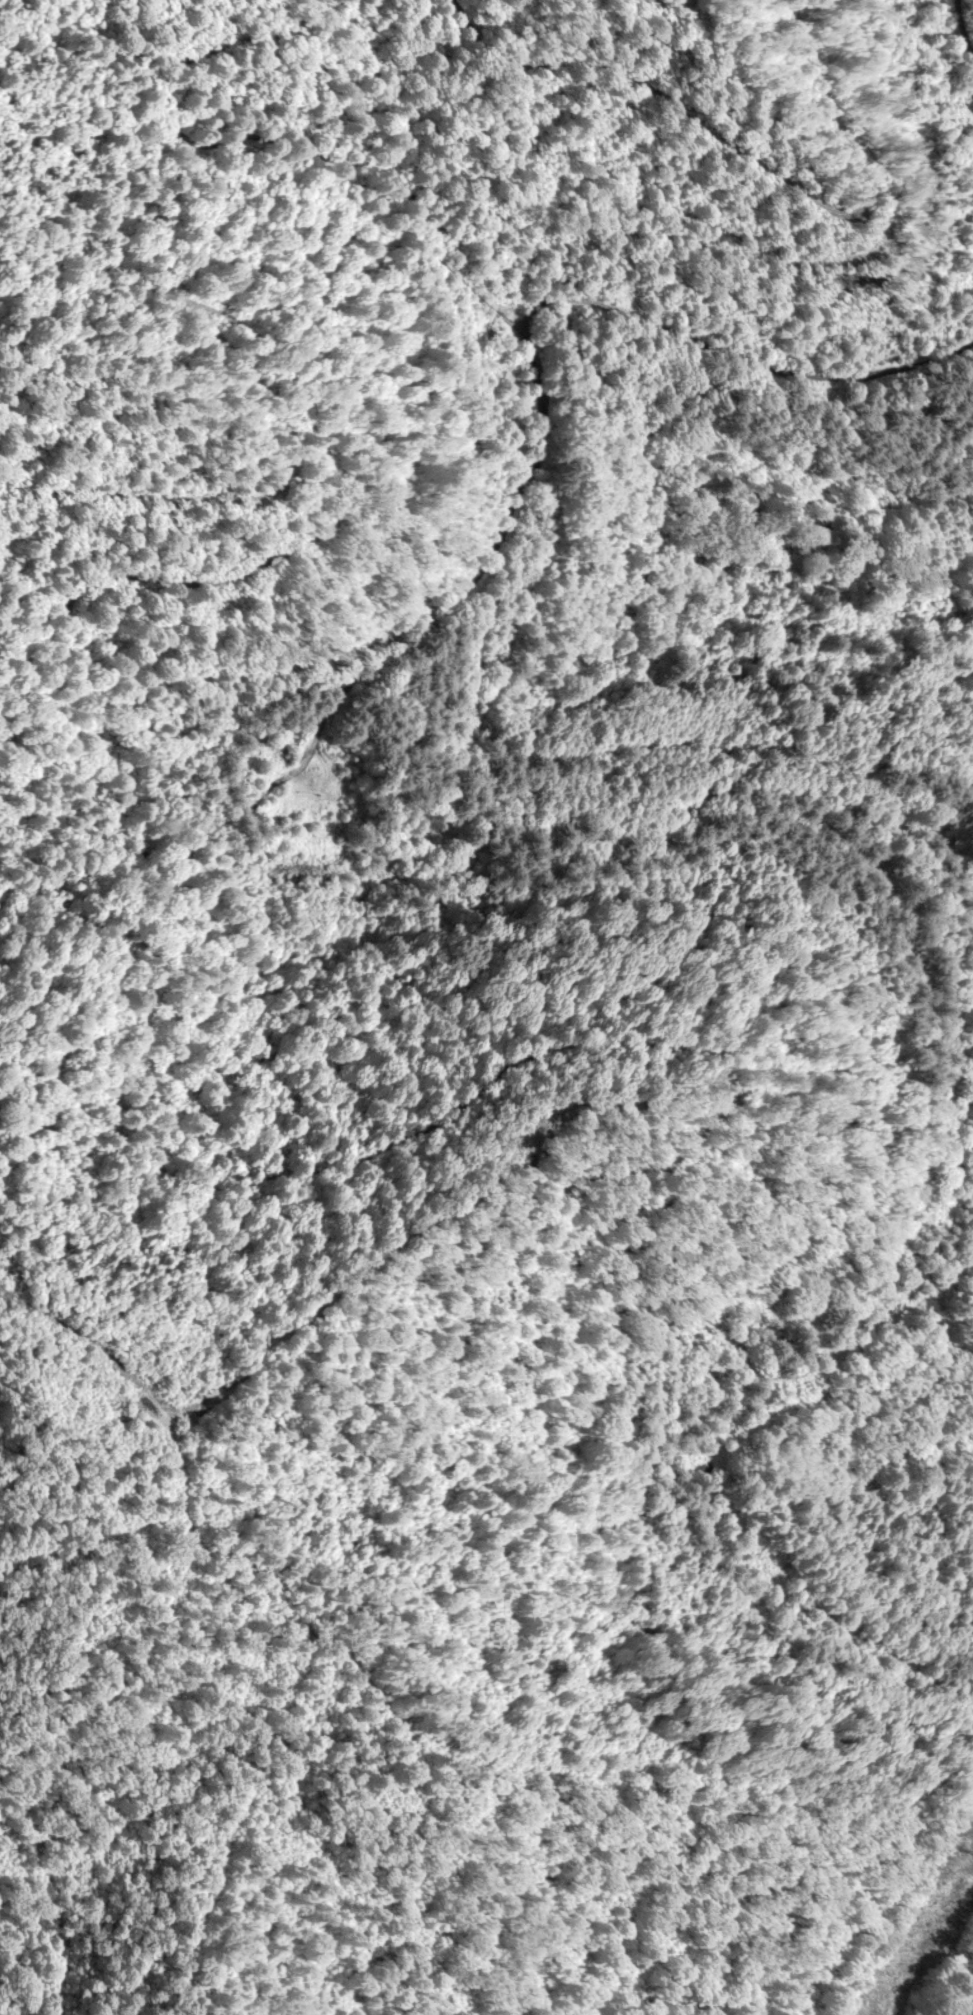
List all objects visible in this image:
power tower: (959, 1870)

